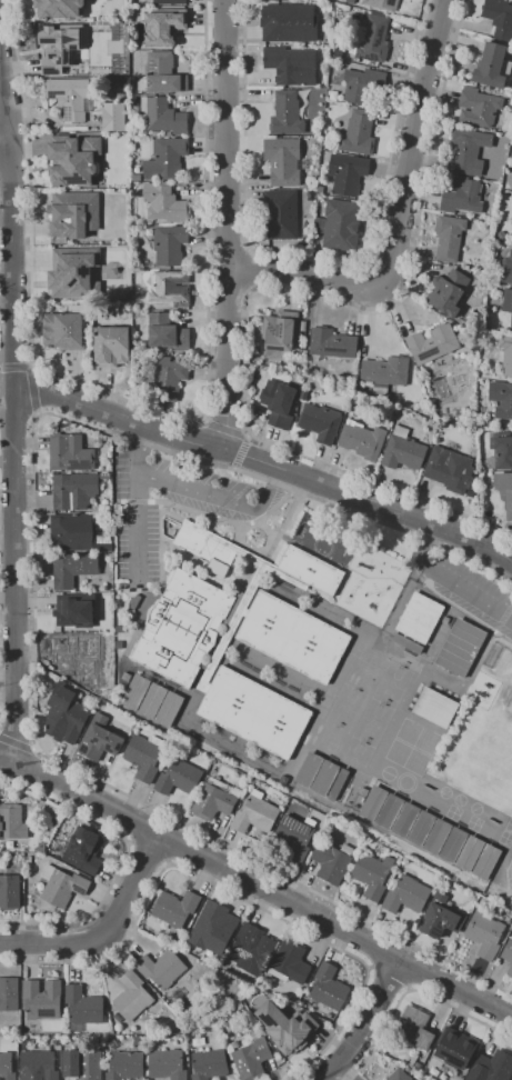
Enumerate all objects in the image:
building: (267, 0)
building: (169, 2)
building: (383, 4)
building: (59, 10)
building: (499, 18)
building: (288, 23)
building: (163, 27)
building: (374, 38)
building: (53, 41)
building: (291, 66)
building: (492, 67)
building: (161, 74)
building: (362, 84)
building: (69, 97)
building: (479, 108)
building: (287, 113)
building: (163, 116)
building: (113, 117)
road: (14, 119)
building: (359, 133)
road: (2, 142)
building: (469, 150)
building: (165, 159)
building: (282, 161)
road: (14, 162)
building: (60, 166)
building: (347, 173)
building: (462, 196)
building: (164, 203)
building: (73, 214)
building: (280, 216)
road: (399, 218)
building: (511, 221)
road: (227, 224)
building: (341, 226)
building: (449, 237)
building: (170, 244)
road: (315, 258)
building: (506, 269)
road: (250, 271)
building: (69, 276)
building: (170, 288)
road: (271, 291)
building: (448, 292)
building: (508, 301)
building: (511, 322)
building: (66, 328)
building: (280, 331)
building: (167, 333)
building: (331, 343)
building: (433, 343)
building: (111, 347)
building: (505, 354)
building: (254, 360)
road: (30, 366)
road: (13, 367)
building: (385, 372)
building: (168, 379)
road: (31, 389)
building: (501, 399)
building: (278, 403)
road: (143, 404)
road: (36, 413)
road: (203, 421)
building: (320, 422)
road: (145, 428)
road: (12, 430)
road: (225, 430)
road: (248, 437)
building: (362, 441)
building: (403, 450)
building: (501, 451)
building: (70, 453)
road: (239, 453)
building: (450, 470)
building: (106, 476)
building: (74, 491)
building: (504, 491)
road: (195, 492)
road: (398, 511)
parking lot: (233, 513)
road: (135, 523)
park: (299, 529)
building: (330, 530)
building: (73, 532)
park: (297, 534)
flagpole: (257, 538)
building: (103, 542)
building: (205, 544)
road: (508, 557)
building: (73, 569)
building: (311, 570)
road: (416, 573)
road: (451, 580)
parking lot: (466, 589)
road: (32, 596)
road: (403, 596)
building: (135, 601)
building: (243, 609)
building: (132, 613)
road: (465, 613)
building: (70, 616)
road: (502, 617)
building: (420, 618)
building: (182, 627)
road: (491, 634)
building: (293, 637)
road: (501, 642)
building: (405, 643)
building: (461, 648)
building: (77, 657)
park: (392, 686)
building: (135, 691)
building: (152, 701)
park: (345, 708)
building: (435, 708)
building: (169, 710)
building: (254, 712)
building: (64, 714)
park: (373, 723)
building: (100, 739)
road: (16, 744)
park: (503, 746)
road: (33, 750)
park: (358, 753)
building: (143, 757)
building: (309, 770)
building: (179, 778)
building: (325, 778)
building: (338, 784)
building: (234, 791)
building: (213, 800)
building: (373, 803)
building: (390, 812)
building: (255, 814)
building: (52, 818)
building: (405, 820)
building: (10, 821)
building: (422, 828)
building: (295, 837)
building: (438, 837)
building: (454, 844)
building: (41, 848)
building: (83, 851)
road: (148, 853)
building: (470, 853)
road: (123, 858)
building: (28, 860)
building: (332, 862)
building: (486, 862)
building: (372, 874)
road: (496, 879)
building: (62, 886)
road: (255, 886)
building: (9, 892)
road: (232, 892)
building: (406, 896)
building: (175, 908)
building: (441, 918)
building: (213, 923)
road: (104, 931)
building: (485, 934)
building: (252, 948)
building: (508, 956)
building: (290, 962)
building: (161, 969)
road: (390, 974)
building: (289, 986)
building: (329, 988)
road: (411, 990)
building: (283, 993)
building: (9, 994)
building: (131, 997)
building: (41, 1000)
building: (82, 1008)
building: (118, 1017)
road: (363, 1023)
building: (291, 1026)
building: (414, 1028)
building: (450, 1054)
building: (252, 1058)
building: (278, 1060)
building: (83, 1064)
building: (167, 1064)
building: (209, 1064)
building: (8, 1066)
building: (38, 1066)
building: (126, 1066)
building: (416, 1066)
building: (492, 1067)
building: (399, 1076)

